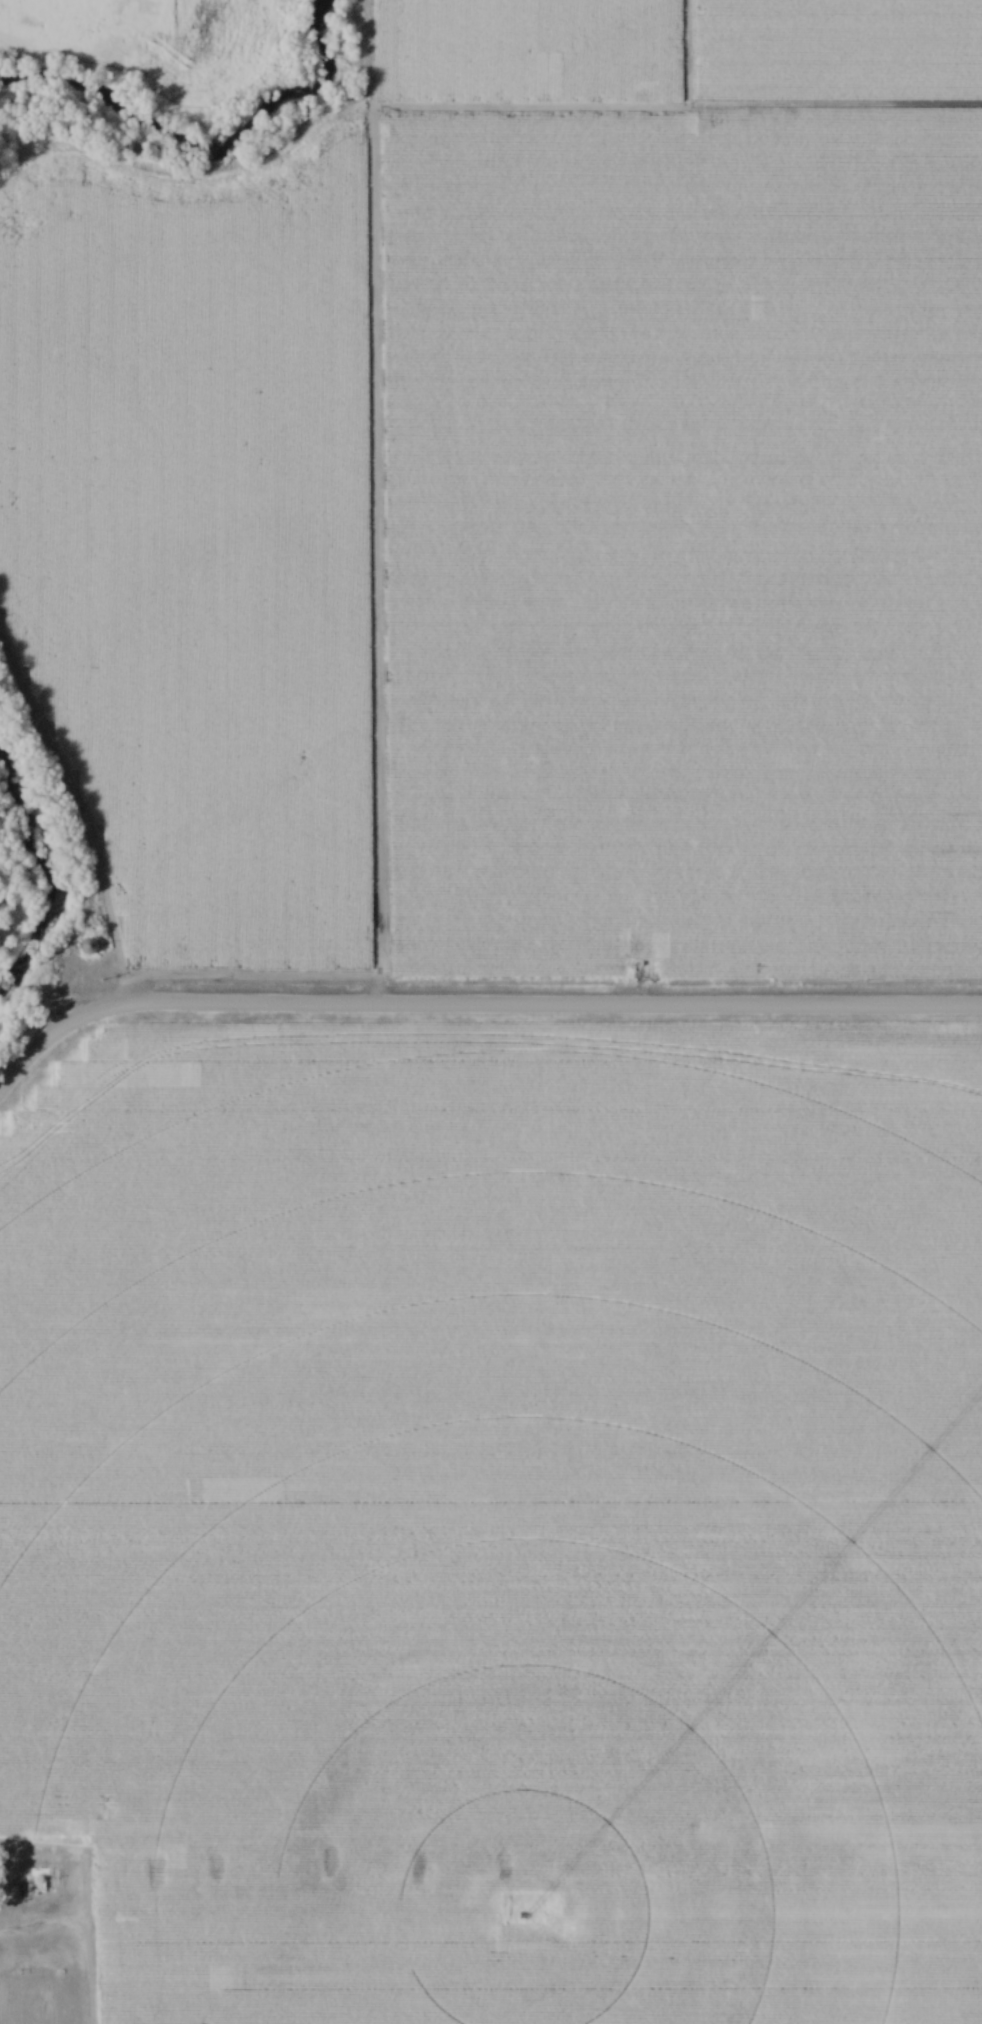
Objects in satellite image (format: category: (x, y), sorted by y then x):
river: (202, 154)
river: (53, 884)
building: (90, 947)
road: (475, 1010)

